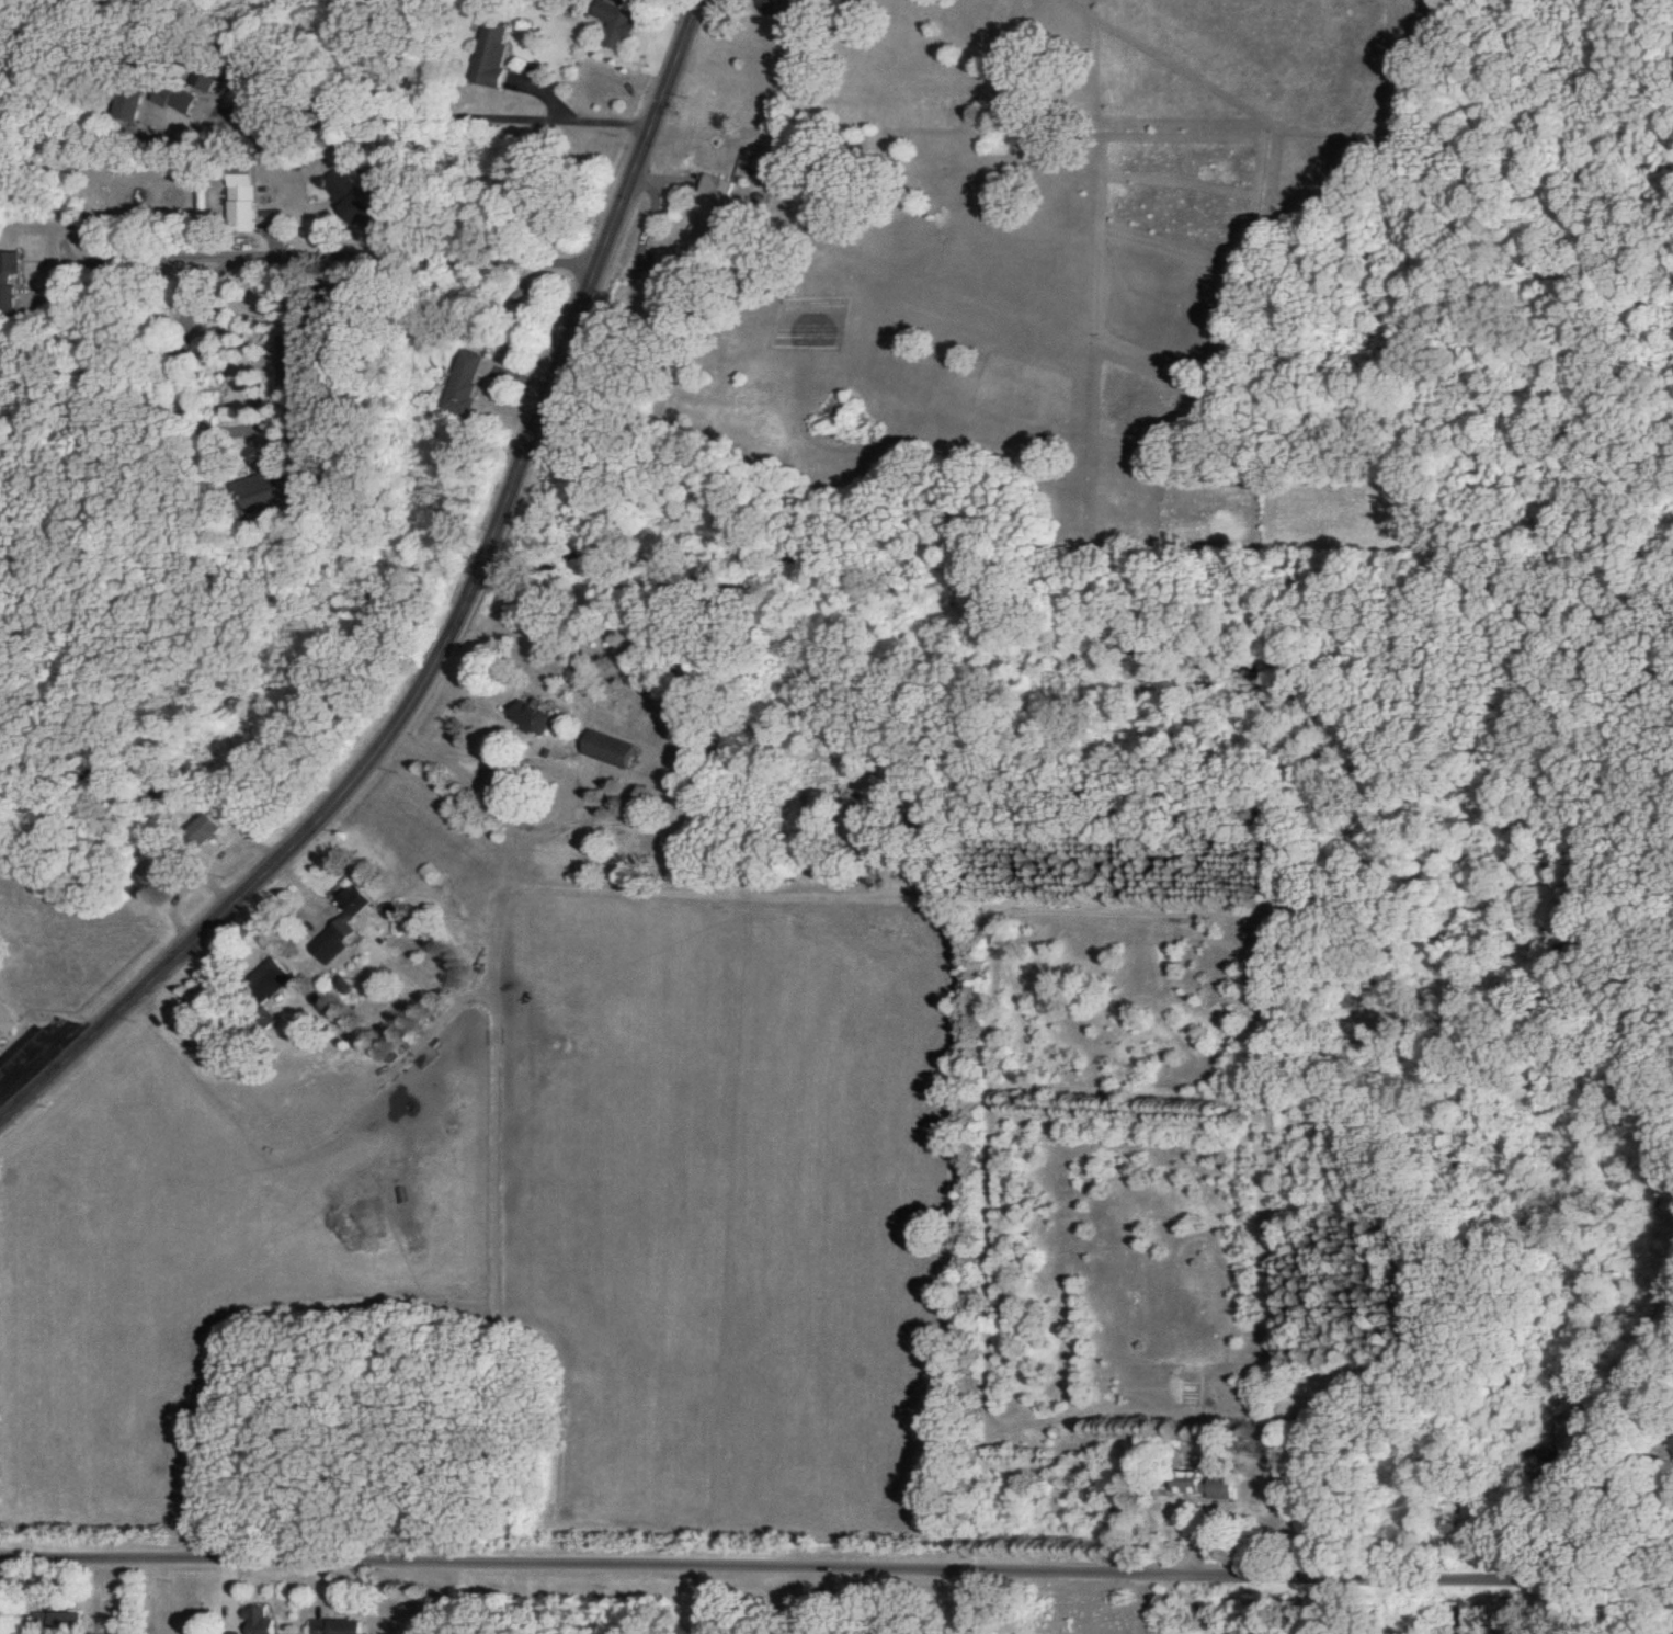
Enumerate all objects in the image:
building: (773, 7)
building: (616, 25)
building: (490, 56)
building: (180, 98)
building: (135, 105)
road: (453, 114)
road: (588, 116)
building: (356, 200)
building: (247, 203)
building: (713, 205)
road: (299, 257)
road: (235, 338)
building: (469, 383)
building: (258, 487)
road: (459, 634)
building: (537, 716)
building: (614, 749)
road: (581, 774)
building: (207, 829)
building: (344, 926)
building: (273, 979)
building: (344, 985)
building: (8, 1023)
building: (1202, 1485)
road: (835, 1576)
road: (697, 1603)
building: (57, 1620)
building: (334, 1626)

